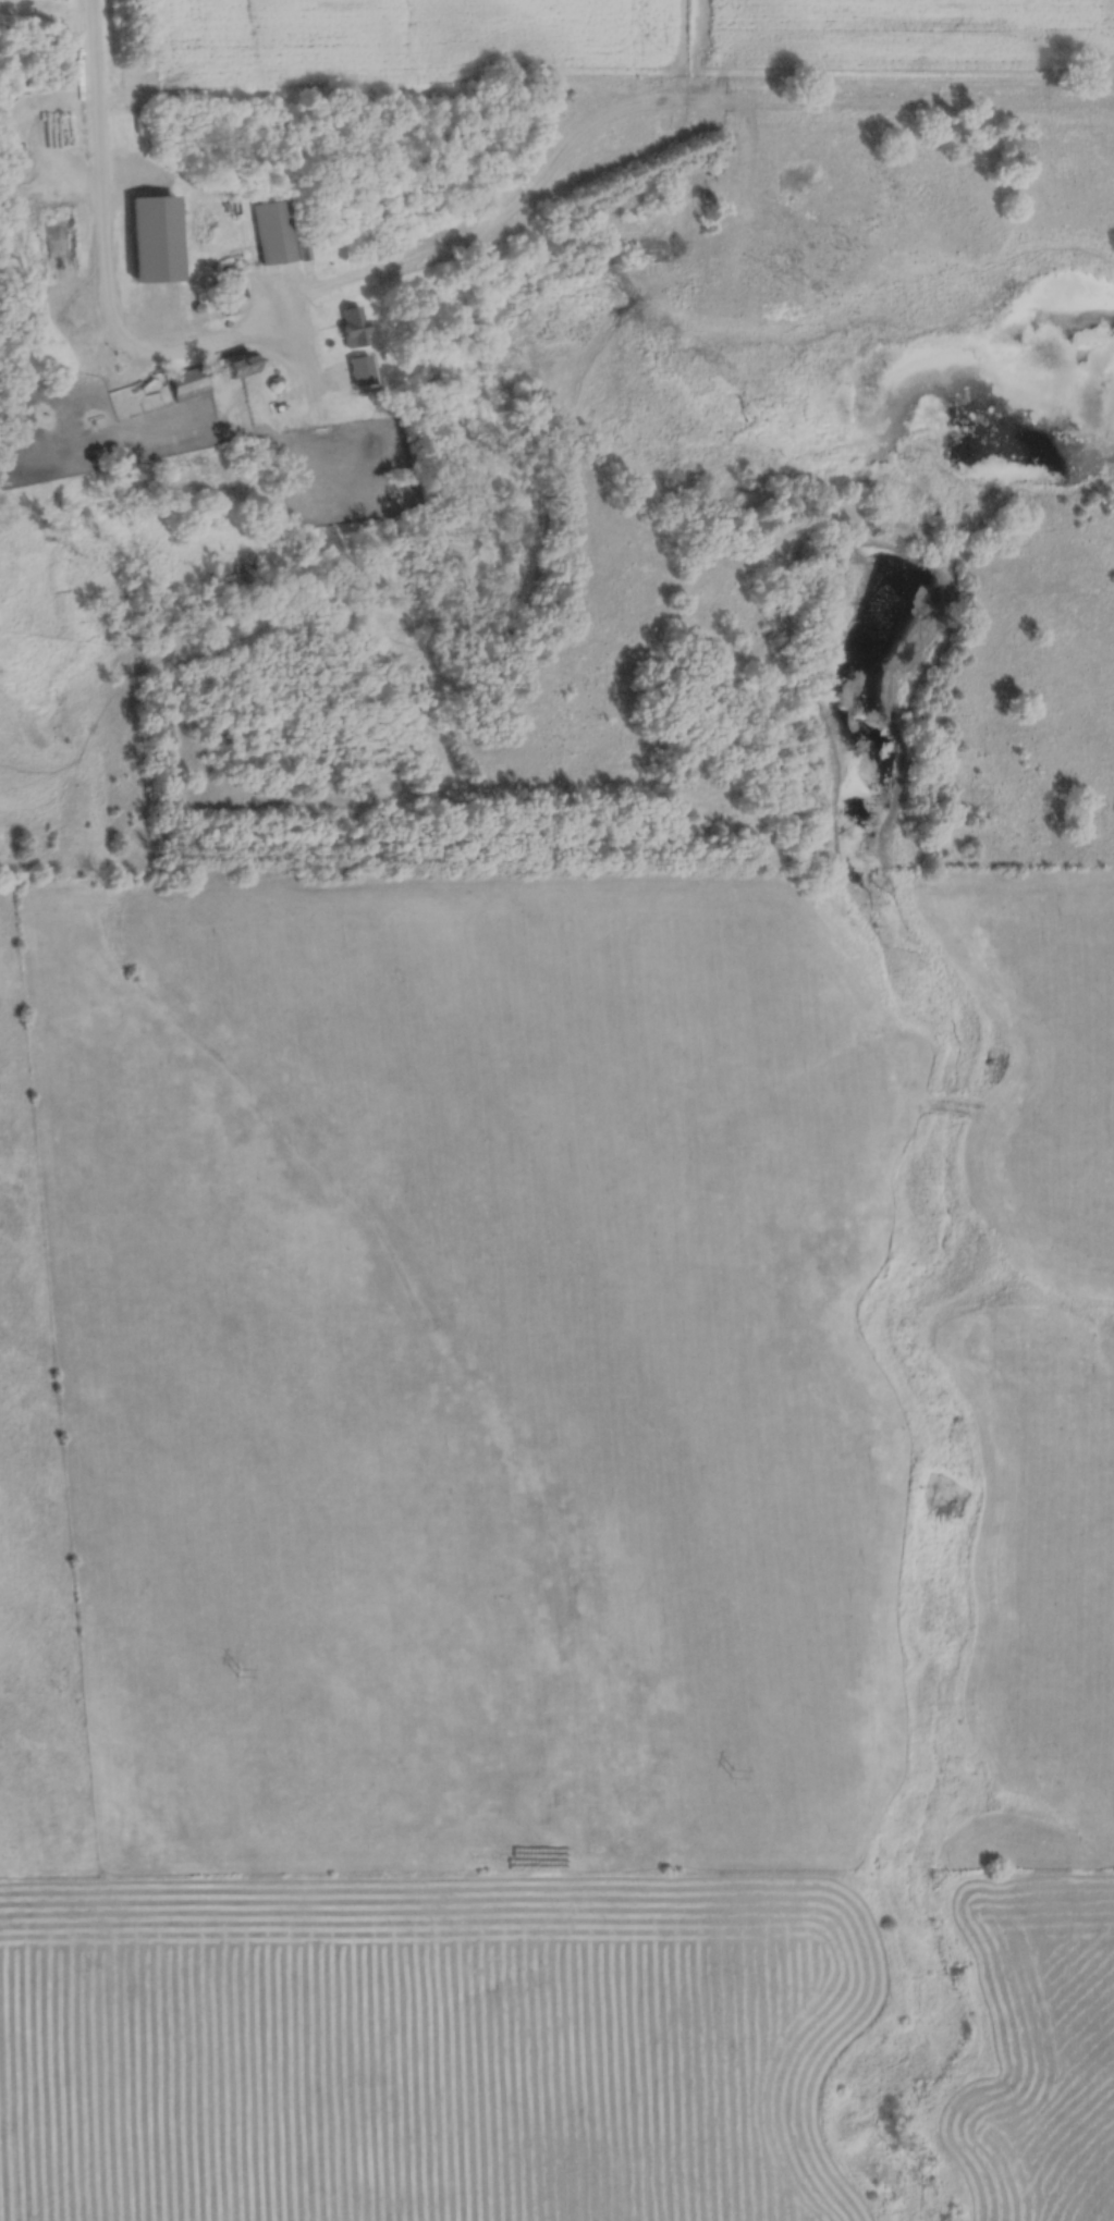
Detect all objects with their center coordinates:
road: (644, 107)
building: (271, 234)
building: (149, 241)
road: (105, 262)
building: (350, 329)
building: (232, 367)
building: (184, 384)

